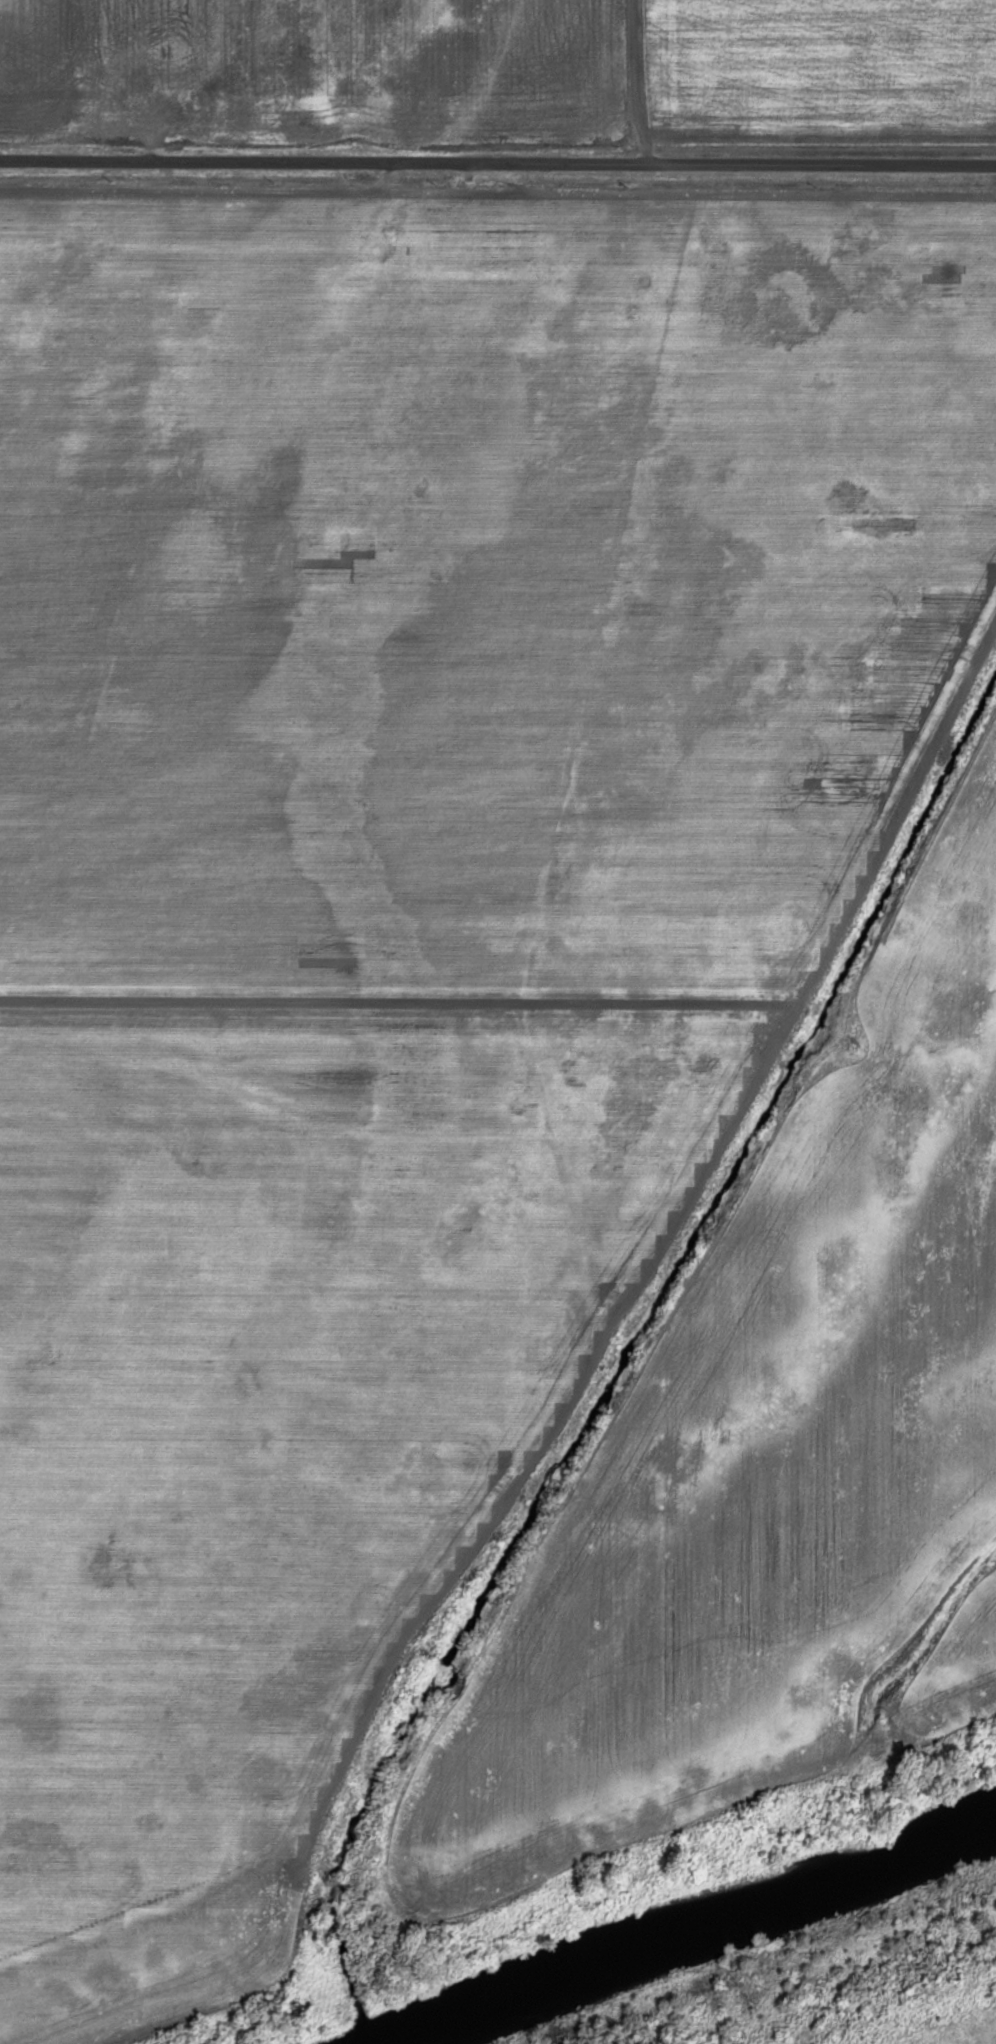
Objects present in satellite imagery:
road: (498, 165)

